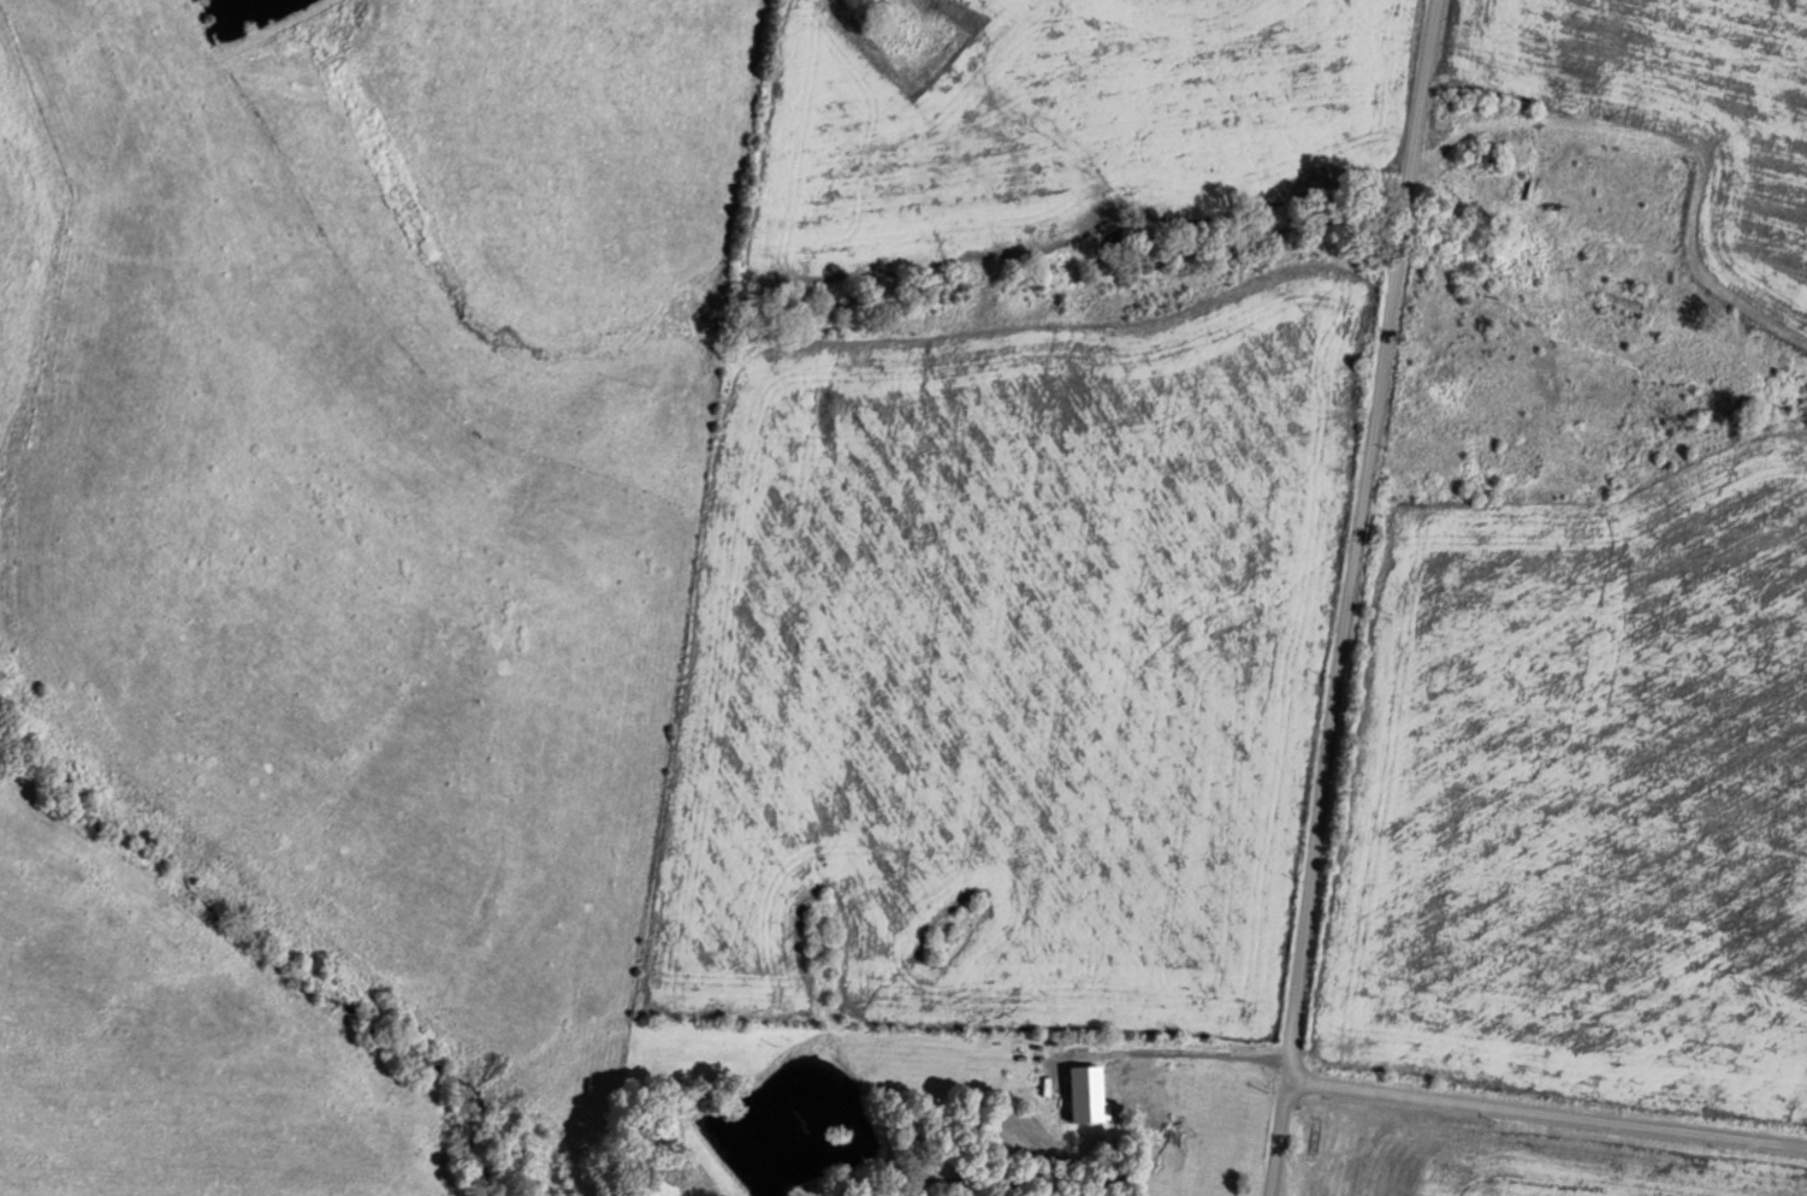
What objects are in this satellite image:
road: (1338, 598)
road: (1539, 1151)

